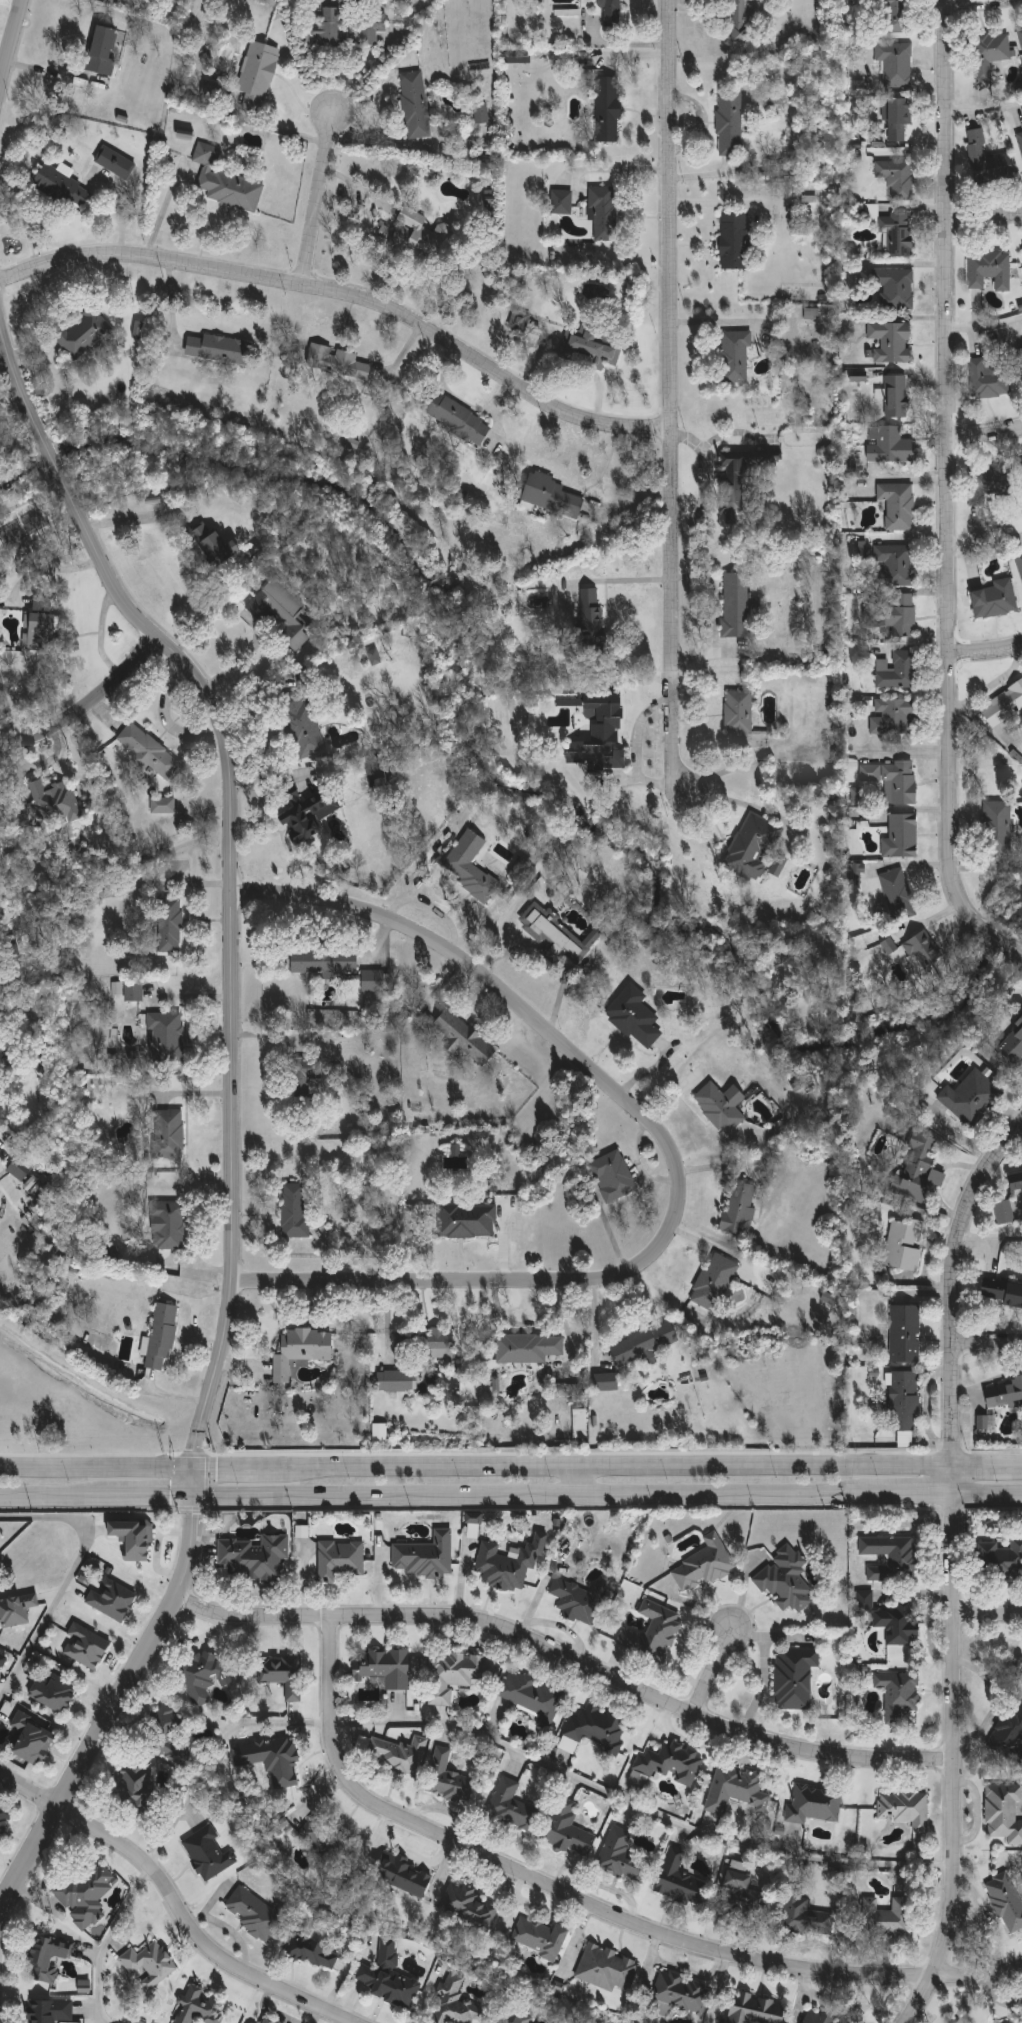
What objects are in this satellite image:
road: (980, 4)
building: (611, 12)
building: (896, 16)
building: (740, 21)
building: (372, 28)
building: (1020, 34)
road: (12, 43)
building: (103, 51)
building: (991, 54)
building: (896, 64)
building: (259, 69)
building: (213, 91)
building: (416, 105)
road: (984, 107)
building: (609, 109)
building: (483, 113)
building: (899, 120)
building: (730, 123)
building: (185, 134)
building: (1020, 139)
building: (987, 160)
building: (116, 162)
building: (897, 178)
building: (226, 182)
building: (61, 185)
road: (318, 198)
building: (562, 202)
building: (604, 214)
road: (984, 223)
building: (898, 233)
building: (416, 234)
building: (734, 240)
building: (1021, 245)
building: (990, 269)
building: (897, 288)
road: (349, 295)
road: (65, 320)
road: (984, 322)
building: (519, 323)
building: (139, 328)
building: (85, 334)
building: (892, 342)
building: (595, 344)
building: (220, 350)
building: (1021, 350)
building: (735, 357)
building: (338, 363)
building: (988, 380)
building: (897, 397)
road: (672, 399)
building: (457, 418)
road: (985, 435)
building: (890, 445)
building: (1021, 461)
road: (911, 475)
building: (989, 483)
building: (734, 486)
road: (949, 495)
building: (554, 497)
building: (898, 505)
road: (126, 518)
road: (985, 539)
building: (212, 545)
building: (1019, 561)
building: (897, 564)
building: (996, 599)
building: (737, 605)
building: (282, 611)
building: (899, 615)
building: (592, 619)
building: (42, 625)
road: (986, 654)
building: (374, 656)
road: (237, 664)
building: (898, 671)
road: (85, 703)
building: (1003, 706)
building: (739, 712)
building: (894, 717)
building: (303, 724)
building: (601, 734)
building: (1018, 740)
road: (902, 748)
building: (149, 752)
building: (894, 781)
road: (742, 801)
building: (55, 804)
building: (163, 806)
building: (304, 816)
building: (998, 828)
building: (902, 837)
building: (754, 847)
building: (778, 865)
building: (470, 866)
road: (233, 867)
road: (425, 868)
building: (854, 872)
building: (109, 890)
building: (900, 895)
road: (442, 914)
building: (170, 925)
building: (554, 934)
building: (889, 945)
building: (923, 951)
building: (326, 962)
building: (375, 982)
building: (134, 991)
building: (635, 1017)
building: (466, 1039)
building: (165, 1042)
building: (1013, 1046)
building: (303, 1078)
building: (797, 1085)
building: (972, 1098)
building: (722, 1107)
building: (169, 1134)
road: (677, 1160)
building: (919, 1169)
building: (19, 1171)
building: (613, 1176)
building: (1016, 1179)
building: (739, 1208)
building: (295, 1211)
building: (1005, 1212)
building: (467, 1221)
building: (169, 1226)
road: (991, 1236)
building: (905, 1244)
building: (715, 1281)
road: (955, 1288)
building: (1002, 1292)
building: (906, 1334)
building: (162, 1337)
building: (426, 1342)
building: (644, 1344)
road: (988, 1347)
building: (528, 1348)
building: (302, 1350)
building: (396, 1381)
building: (607, 1382)
building: (496, 1384)
building: (1005, 1395)
building: (905, 1402)
building: (985, 1422)
building: (379, 1430)
road: (240, 1468)
road: (620, 1468)
road: (988, 1468)
traffic signals: (195, 1469)
road: (97, 1470)
road: (584, 1481)
road: (988, 1492)
road: (913, 1493)
road: (534, 1494)
road: (55, 1495)
road: (153, 1495)
traffic signals: (196, 1495)
road: (192, 1535)
building: (135, 1538)
building: (255, 1555)
building: (426, 1556)
building: (892, 1556)
building: (342, 1559)
building: (1000, 1559)
building: (508, 1563)
building: (704, 1564)
road: (69, 1577)
building: (786, 1580)
building: (112, 1599)
building: (864, 1599)
building: (580, 1600)
building: (16, 1610)
road: (988, 1612)
building: (899, 1622)
building: (654, 1633)
building: (86, 1646)
road: (566, 1657)
building: (2, 1660)
building: (387, 1667)
road: (711, 1670)
building: (457, 1674)
building: (283, 1675)
building: (203, 1676)
building: (795, 1677)
building: (54, 1693)
building: (533, 1697)
building: (900, 1697)
building: (595, 1729)
building: (168, 1735)
building: (1009, 1737)
building: (32, 1738)
road: (952, 1751)
road: (86, 1752)
building: (400, 1755)
building: (280, 1762)
building: (673, 1763)
building: (451, 1779)
road: (28, 1789)
building: (736, 1789)
building: (138, 1792)
building: (815, 1804)
road: (639, 1805)
building: (512, 1806)
building: (905, 1809)
building: (1004, 1812)
building: (5, 1818)
building: (281, 1824)
building: (569, 1829)
building: (327, 1841)
building: (209, 1854)
building: (622, 1858)
building: (404, 1875)
building: (680, 1881)
building: (87, 1896)
building: (744, 1896)
building: (1007, 1901)
building: (471, 1906)
road: (590, 1906)
building: (254, 1914)
building: (806, 1914)
building: (894, 1919)
road: (192, 1931)
building: (540, 1938)
road: (106, 1940)
building: (313, 1951)
building: (47, 1958)
building: (151, 1964)
building: (607, 1968)
building: (390, 1979)
building: (685, 1993)
building: (457, 2004)
building: (202, 2007)
building: (757, 2009)
building: (50, 2011)
building: (817, 2018)
building: (248, 2022)
building: (265, 2022)

